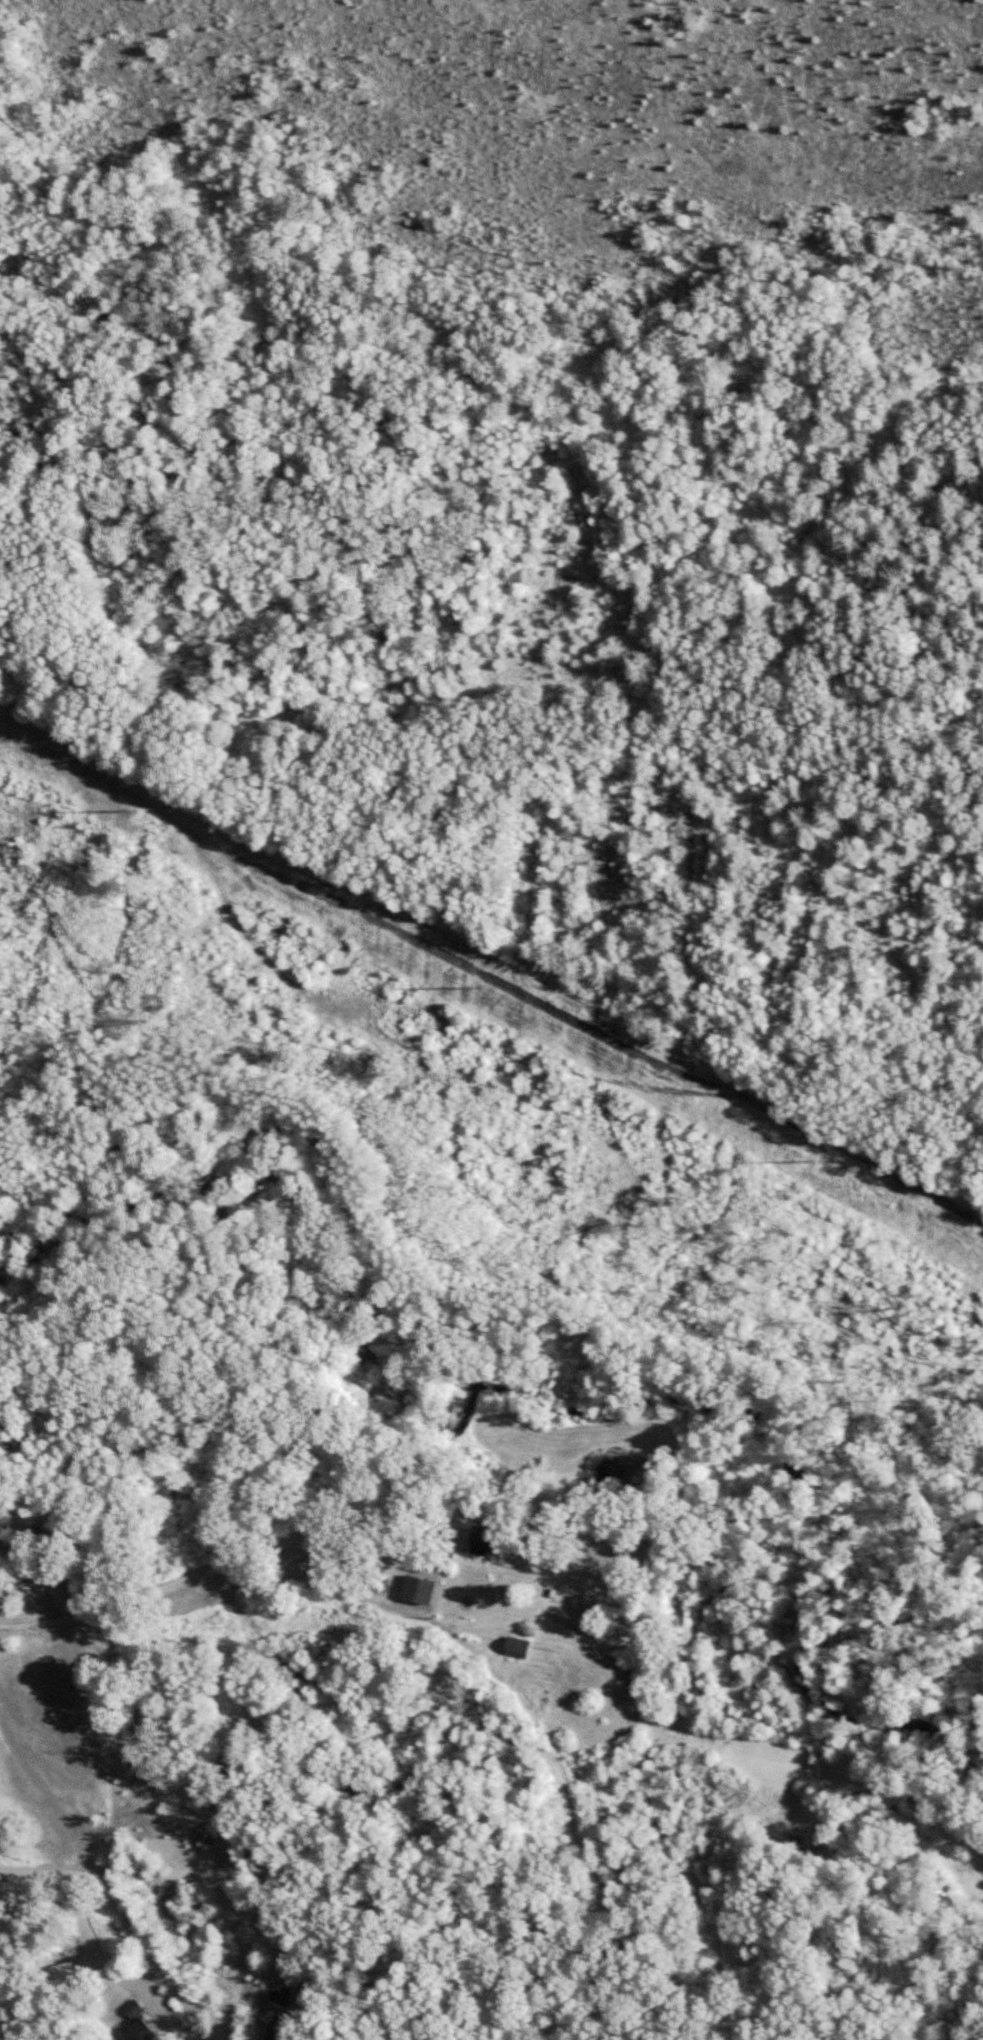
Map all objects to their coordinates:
power tower: (132, 808)
power tower: (473, 984)
power tower: (807, 1159)
road: (426, 1524)
building: (487, 1536)
road: (31, 1570)
building: (419, 1589)
road: (123, 1592)
road: (7, 1622)
building: (518, 1647)
road: (46, 1873)
road: (157, 1954)
building: (140, 2022)

